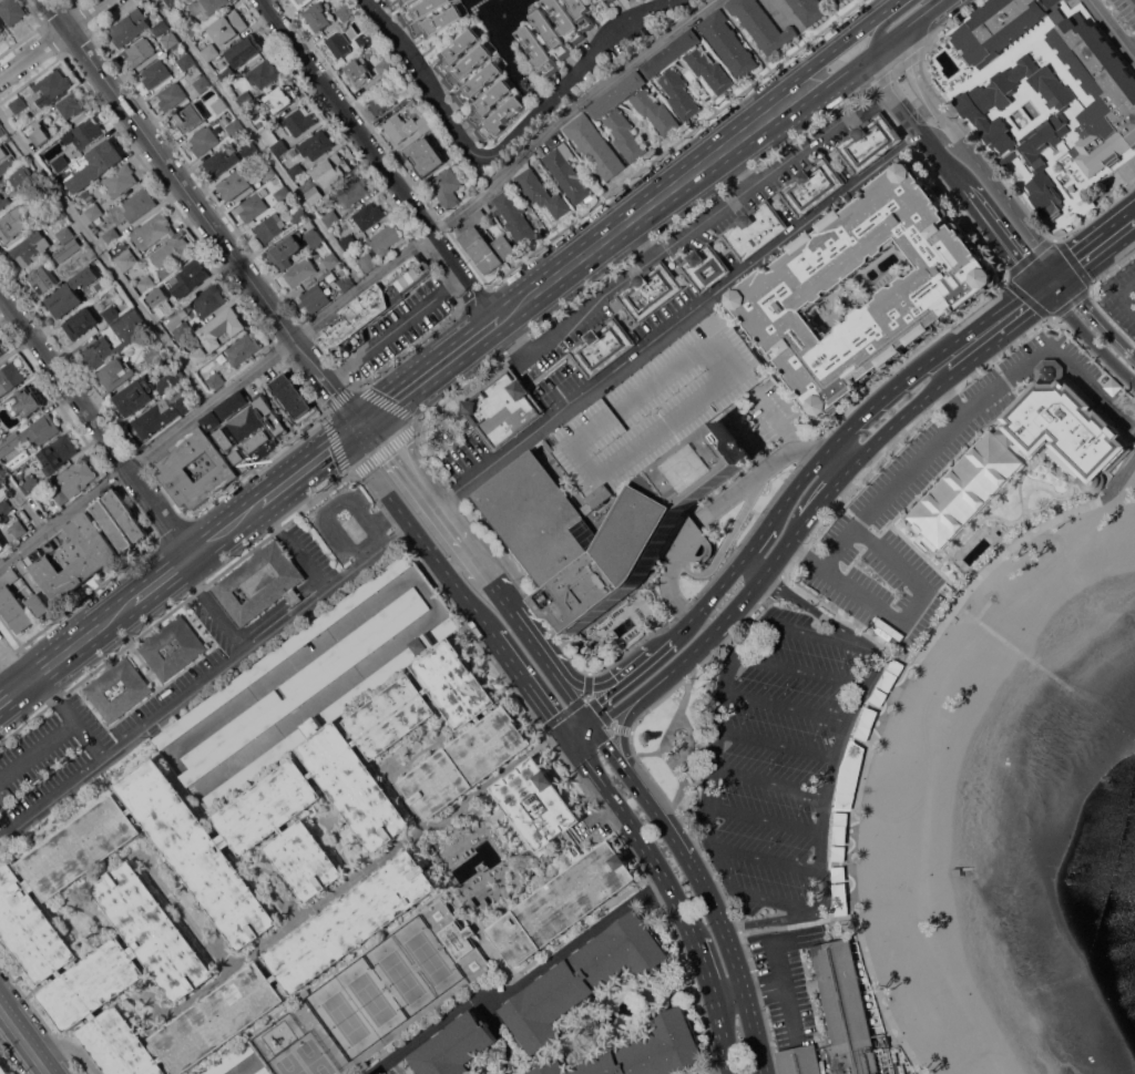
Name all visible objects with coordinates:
building: (294, 0)
building: (612, 0)
building: (298, 1)
building: (605, 1)
building: (838, 1)
road: (897, 1)
building: (174, 2)
road: (471, 4)
building: (207, 6)
building: (808, 10)
road: (923, 10)
parking lot: (1126, 10)
building: (12, 11)
building: (346, 12)
road: (57, 14)
building: (140, 17)
building: (319, 17)
building: (444, 19)
building: (761, 24)
road: (882, 24)
building: (194, 27)
building: (228, 27)
building: (999, 27)
building: (1, 28)
building: (162, 28)
road: (1113, 28)
building: (125, 31)
building: (556, 32)
road: (893, 34)
road: (443, 35)
road: (52, 39)
building: (171, 41)
road: (845, 42)
building: (348, 43)
building: (727, 43)
road: (1132, 44)
building: (246, 50)
building: (140, 52)
building: (212, 52)
building: (186, 62)
building: (385, 68)
road: (896, 70)
building: (264, 73)
building: (358, 73)
building: (155, 74)
road: (841, 74)
building: (227, 75)
building: (665, 75)
building: (53, 84)
building: (202, 84)
building: (477, 84)
building: (1098, 94)
road: (891, 95)
building: (172, 96)
building: (282, 98)
building: (388, 98)
road: (878, 99)
building: (245, 100)
building: (982, 103)
building: (19, 104)
building: (72, 104)
building: (219, 105)
building: (610, 116)
building: (187, 119)
building: (298, 121)
building: (0, 123)
building: (262, 123)
building: (235, 127)
building: (407, 127)
building: (1, 132)
building: (40, 133)
building: (88, 133)
road: (942, 137)
building: (204, 141)
building: (275, 142)
road: (504, 142)
building: (868, 142)
road: (260, 143)
building: (316, 144)
road: (673, 144)
building: (594, 146)
road: (964, 149)
building: (249, 150)
building: (3, 153)
building: (426, 156)
building: (20, 158)
road: (988, 158)
road: (379, 161)
road: (942, 161)
building: (221, 162)
building: (61, 163)
building: (1041, 163)
building: (8, 165)
building: (96, 166)
building: (331, 170)
road: (736, 170)
building: (296, 171)
building: (266, 172)
building: (565, 172)
building: (23, 178)
building: (120, 181)
road: (730, 183)
building: (236, 185)
building: (811, 185)
building: (447, 187)
building: (311, 190)
building: (350, 192)
building: (541, 193)
building: (284, 195)
building: (3, 202)
road: (651, 204)
building: (1084, 204)
building: (140, 205)
road: (196, 205)
road: (1131, 205)
building: (254, 207)
building: (48, 209)
building: (93, 216)
building: (298, 216)
building: (369, 216)
building: (331, 217)
building: (515, 217)
building: (13, 223)
building: (270, 228)
building: (754, 229)
building: (154, 231)
road: (1000, 232)
building: (67, 234)
building: (311, 235)
road: (1091, 235)
building: (111, 237)
building: (385, 239)
building: (479, 241)
road: (638, 241)
road: (675, 241)
building: (348, 242)
building: (505, 246)
building: (30, 249)
building: (68, 249)
building: (286, 252)
building: (172, 253)
road: (105, 258)
road: (1102, 258)
building: (126, 259)
building: (331, 260)
building: (365, 260)
traffic signals: (1054, 263)
building: (705, 267)
road: (1110, 268)
road: (1045, 270)
road: (1014, 272)
building: (300, 273)
road: (1062, 273)
building: (188, 278)
traffic signals: (1036, 278)
building: (41, 279)
building: (346, 283)
building: (146, 284)
traffic signals: (1071, 284)
road: (361, 287)
road: (1043, 287)
building: (780, 289)
building: (650, 290)
road: (1061, 290)
building: (70, 293)
road: (1122, 295)
parking lot: (1121, 296)
traffic signals: (1051, 297)
building: (314, 298)
road: (472, 298)
building: (208, 299)
road: (1044, 301)
building: (159, 304)
building: (374, 306)
building: (111, 313)
road: (1103, 319)
road: (678, 321)
building: (81, 324)
building: (180, 327)
building: (222, 328)
road: (392, 329)
parking lot: (400, 330)
road: (483, 331)
building: (125, 339)
road: (1092, 339)
road: (995, 340)
building: (602, 347)
building: (2, 348)
road: (408, 348)
building: (243, 350)
road: (1035, 355)
building: (200, 356)
building: (154, 357)
road: (921, 364)
road: (433, 370)
building: (115, 374)
building: (10, 378)
building: (170, 381)
building: (216, 381)
building: (290, 393)
building: (135, 397)
building: (24, 403)
building: (233, 405)
road: (342, 405)
building: (502, 407)
building: (657, 407)
parking lot: (657, 407)
road: (378, 412)
building: (161, 416)
building: (269, 416)
road: (775, 418)
road: (995, 419)
building: (211, 420)
road: (891, 421)
road: (95, 422)
building: (246, 423)
traffic signals: (360, 427)
building: (43, 430)
road: (331, 431)
building: (0, 438)
building: (225, 440)
building: (10, 443)
building: (259, 446)
road: (806, 452)
building: (58, 453)
building: (19, 459)
building: (1087, 459)
building: (238, 461)
road: (256, 464)
road: (308, 464)
road: (943, 467)
building: (173, 468)
road: (826, 468)
road: (907, 470)
road: (371, 471)
building: (81, 473)
building: (31, 482)
road: (419, 483)
road: (793, 490)
building: (61, 495)
road: (819, 497)
road: (22, 499)
road: (349, 499)
building: (4, 508)
building: (126, 514)
road: (267, 516)
road: (706, 519)
road: (386, 520)
building: (112, 523)
parking lot: (349, 523)
building: (545, 525)
building: (19, 529)
road: (172, 530)
road: (224, 530)
road: (795, 530)
road: (421, 540)
road: (758, 540)
building: (0, 548)
road: (494, 554)
building: (101, 556)
road: (775, 559)
road: (926, 559)
road: (301, 560)
road: (456, 561)
road: (825, 564)
road: (753, 566)
building: (392, 571)
road: (188, 577)
road: (710, 579)
building: (260, 583)
road: (154, 584)
building: (819, 584)
road: (84, 595)
road: (707, 599)
road: (447, 600)
building: (13, 602)
road: (469, 602)
building: (39, 604)
road: (911, 605)
road: (174, 607)
road: (812, 607)
road: (509, 611)
road: (747, 614)
road: (845, 621)
road: (222, 622)
road: (713, 625)
road: (812, 633)
road: (1005, 642)
road: (665, 645)
road: (71, 647)
building: (173, 647)
road: (7, 656)
road: (12, 666)
road: (802, 672)
building: (320, 674)
road: (626, 678)
road: (528, 682)
road: (205, 683)
road: (606, 683)
building: (367, 684)
road: (587, 685)
road: (48, 686)
building: (119, 688)
road: (565, 692)
road: (13, 693)
road: (626, 700)
road: (579, 702)
road: (787, 706)
road: (589, 710)
traffic signals: (582, 715)
road: (881, 718)
road: (585, 720)
road: (572, 723)
road: (672, 725)
traffic signals: (590, 726)
road: (81, 727)
road: (717, 727)
road: (620, 728)
traffic signals: (562, 730)
road: (580, 734)
road: (565, 736)
traffic signals: (570, 741)
road: (543, 743)
road: (777, 743)
road: (38, 748)
road: (839, 749)
road: (646, 751)
building: (273, 754)
parking lot: (780, 754)
road: (682, 760)
parking lot: (37, 765)
road: (637, 769)
building: (849, 776)
road: (768, 783)
road: (640, 797)
building: (538, 804)
road: (765, 819)
road: (638, 837)
road: (469, 840)
building: (72, 855)
road: (766, 858)
building: (839, 890)
road: (749, 893)
building: (562, 902)
road: (791, 917)
road: (796, 924)
building: (457, 941)
park: (429, 957)
road: (735, 968)
road: (705, 972)
park: (401, 976)
road: (520, 983)
building: (567, 985)
road: (784, 989)
road: (748, 995)
park: (372, 996)
building: (847, 1012)
park: (342, 1019)
road: (720, 1039)
road: (23, 1041)
road: (71, 1045)
building: (456, 1046)
park: (314, 1056)
building: (799, 1060)
park: (287, 1064)
building: (3, 1068)
road: (245, 1068)

